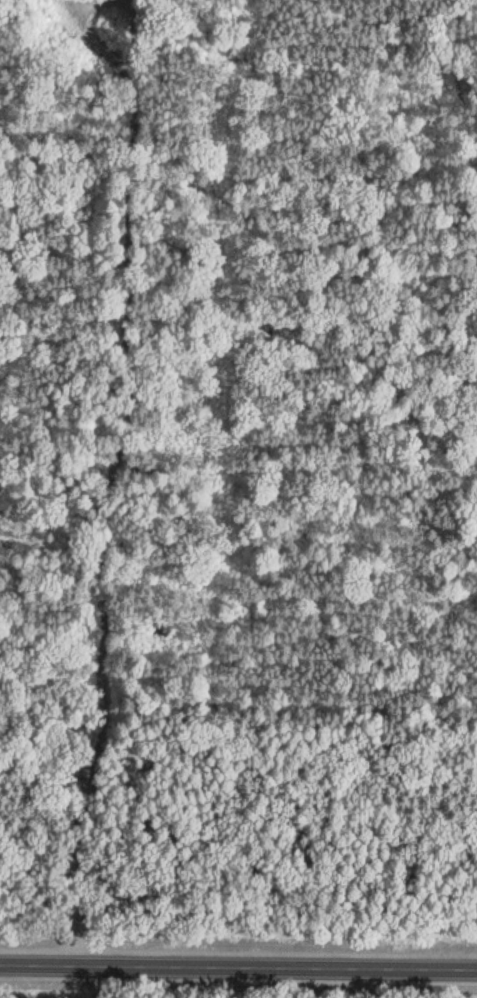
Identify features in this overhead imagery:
road: (79, 483)
road: (238, 964)

